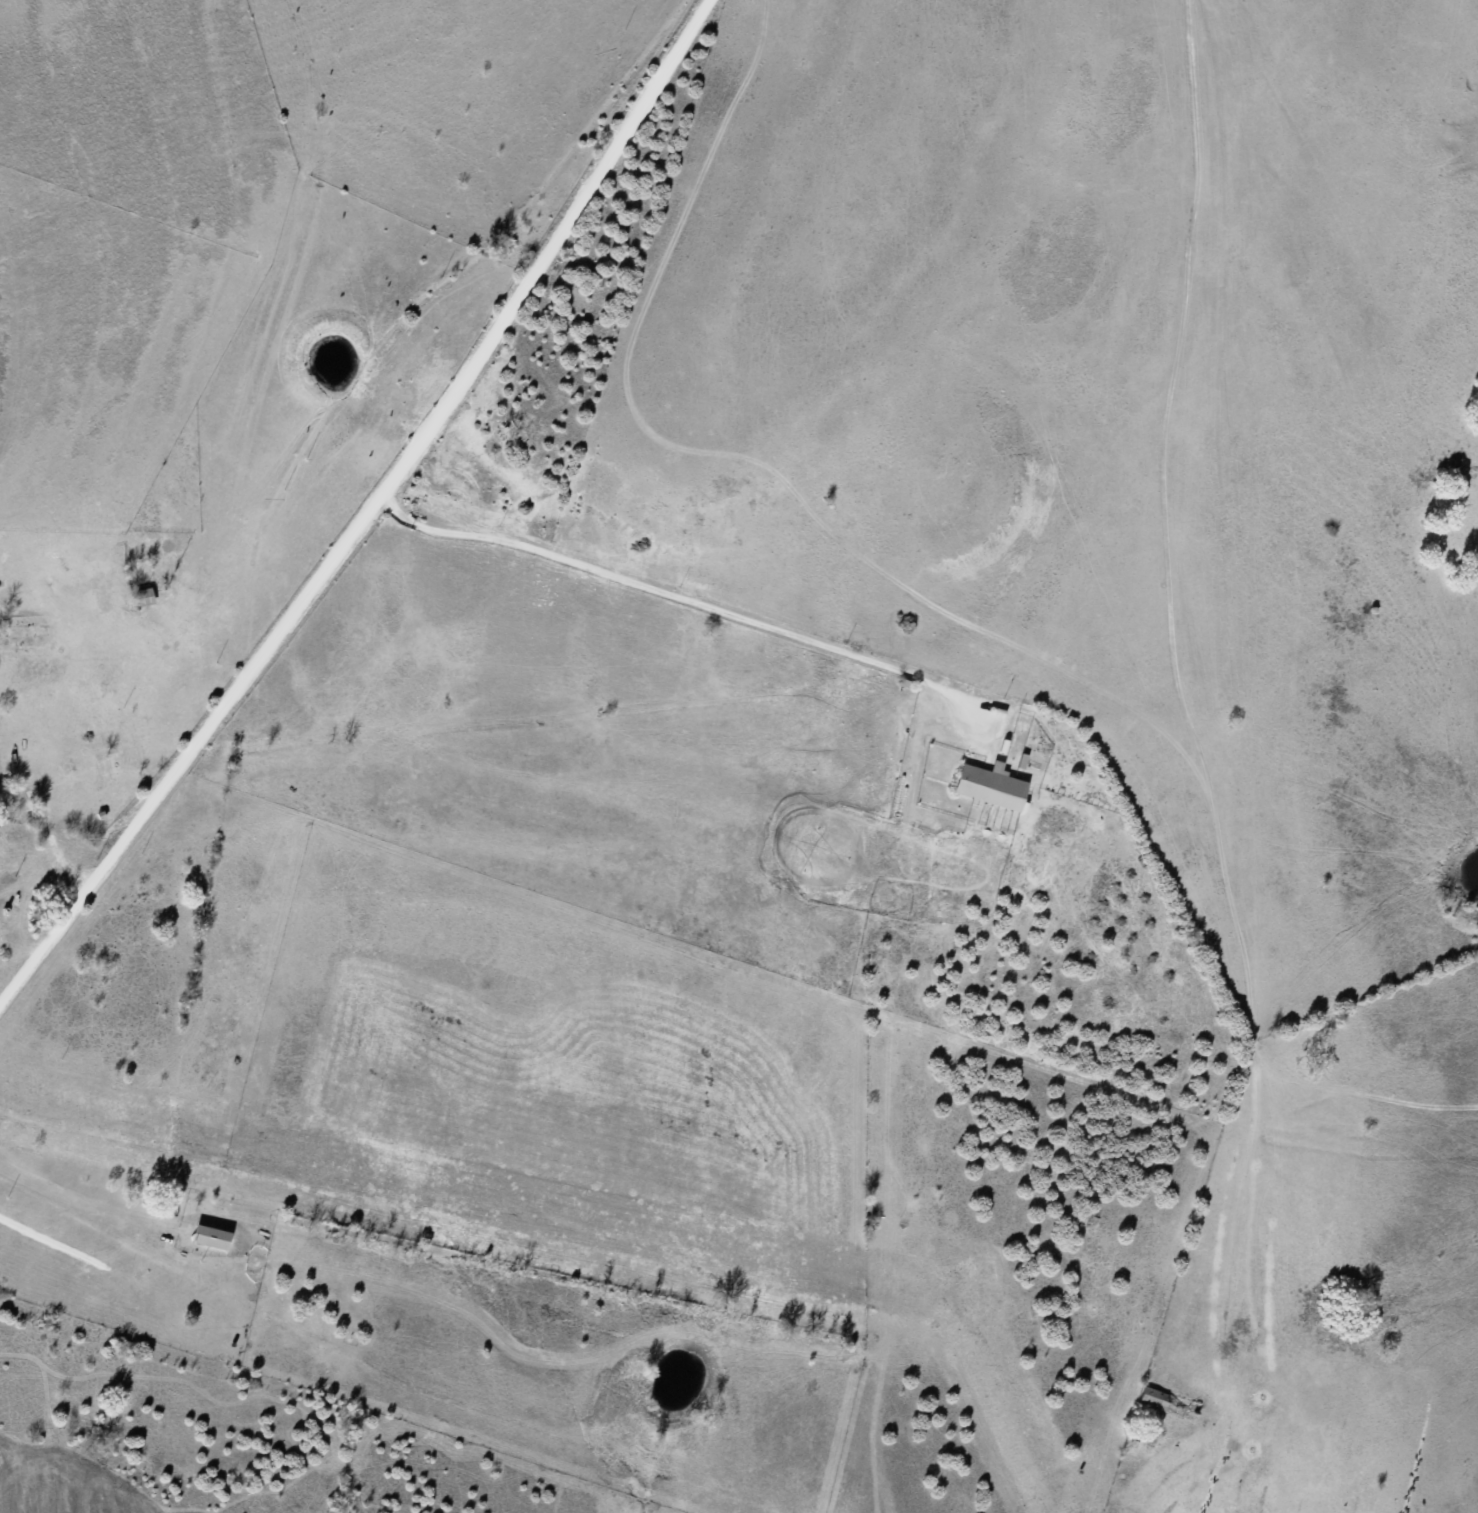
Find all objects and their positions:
road: (719, 286)
road: (399, 562)
building: (145, 596)
road: (1310, 684)
building: (107, 769)
building: (994, 786)
road: (31, 907)
building: (212, 1237)
building: (1171, 1402)

